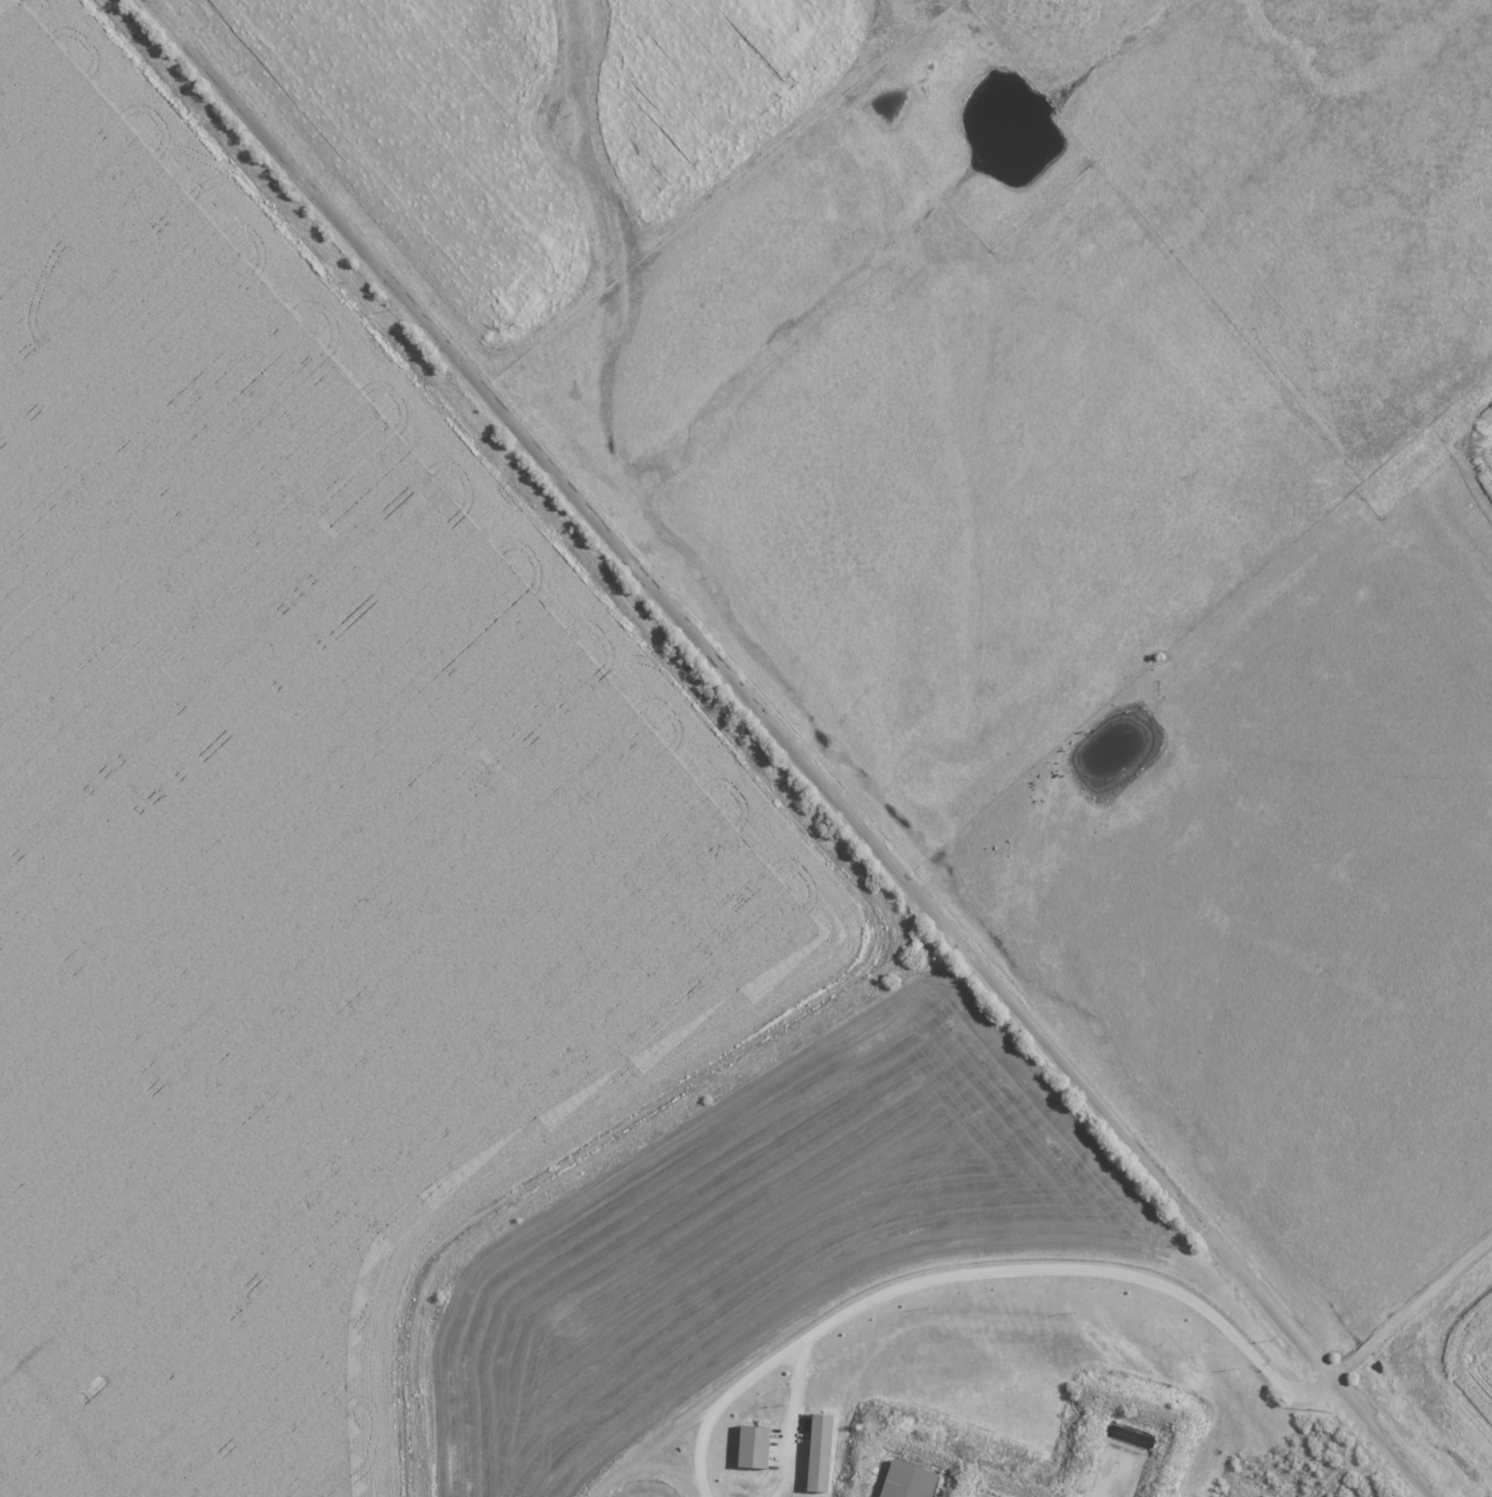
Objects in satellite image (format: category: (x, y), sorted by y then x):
road: (791, 747)
road: (767, 771)
airport: (304, 827)
road: (1092, 1269)
road: (793, 1420)
road: (666, 1440)
building: (757, 1446)
building: (823, 1451)
road: (644, 1466)
building: (909, 1480)
road: (703, 1491)

